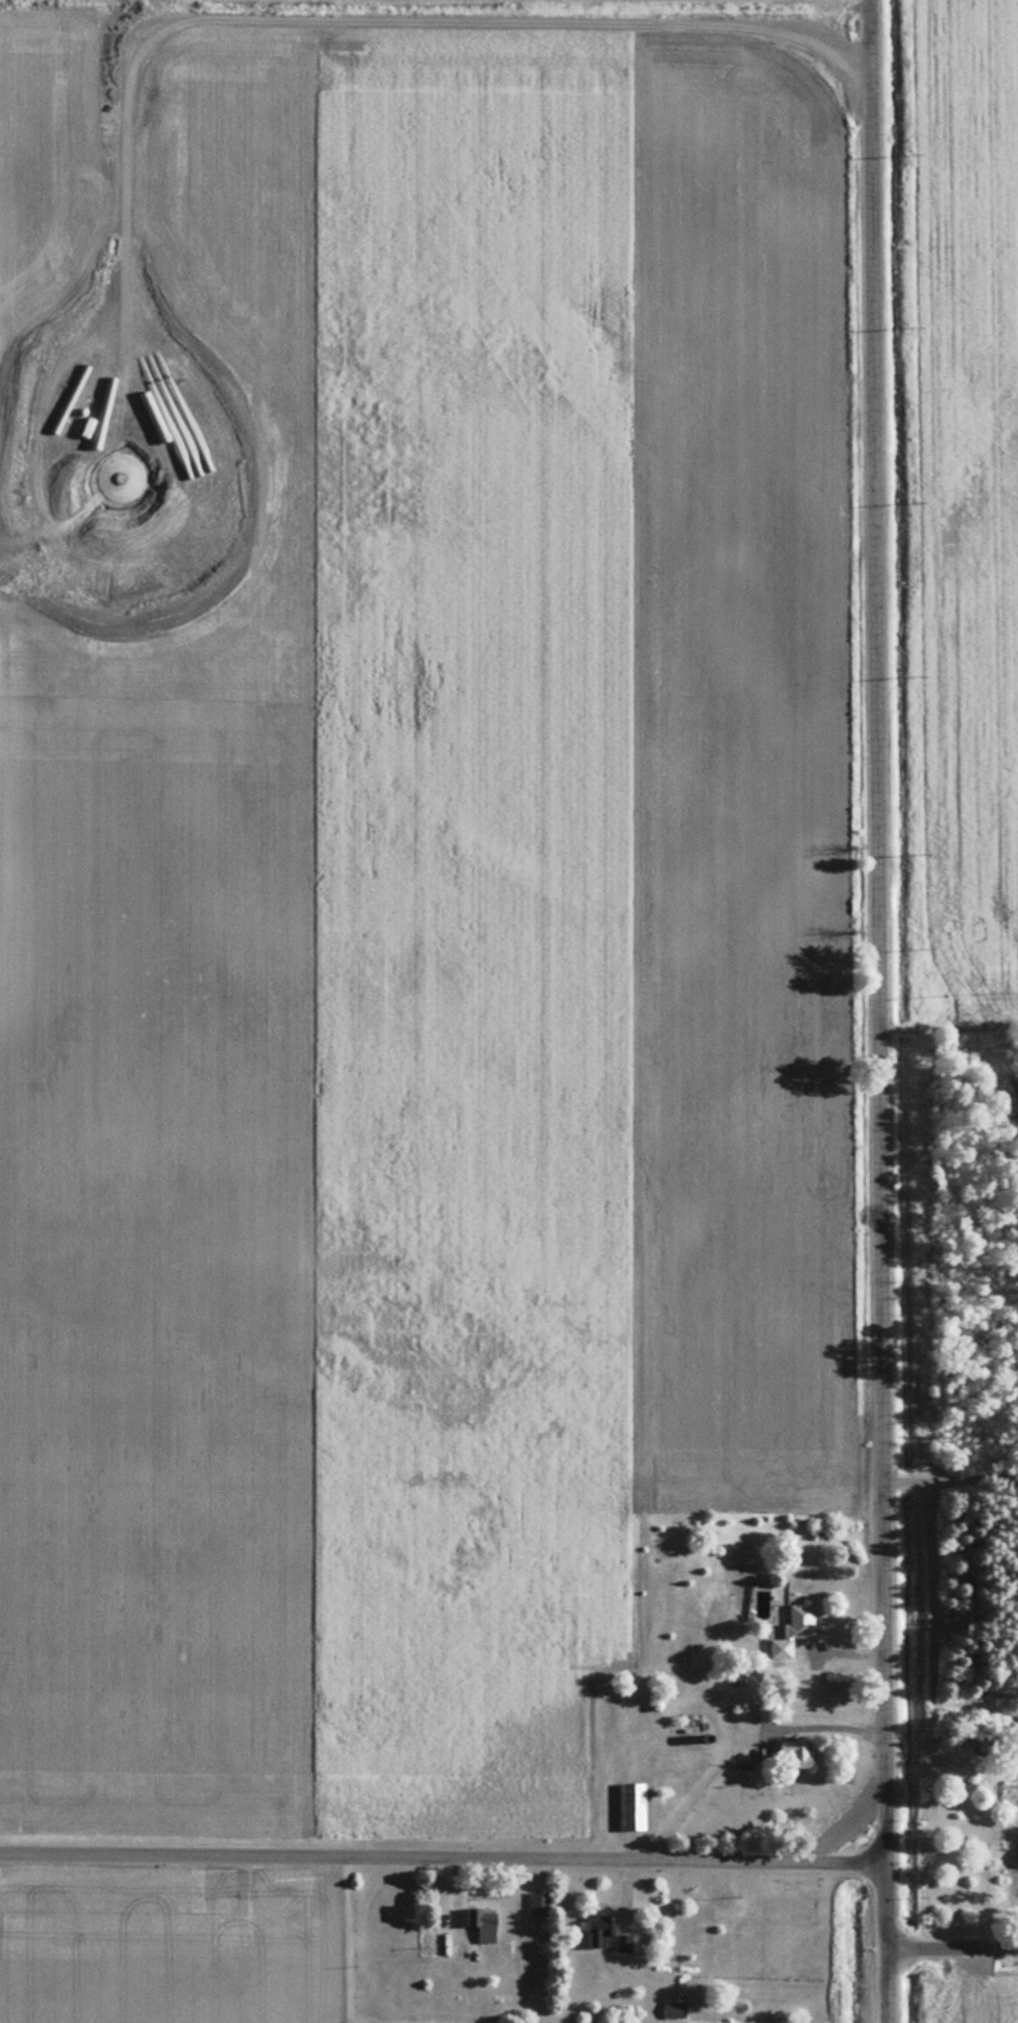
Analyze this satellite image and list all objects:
wind turbine: (123, 482)
road: (881, 934)
building: (796, 1629)
building: (696, 1659)
building: (768, 1710)
road: (729, 1741)
building: (793, 1749)
building: (636, 1805)
road: (444, 1864)
building: (540, 1904)
road: (901, 1912)
building: (484, 1925)
building: (607, 1933)
road: (890, 1946)
road: (954, 1954)
building: (675, 2008)

